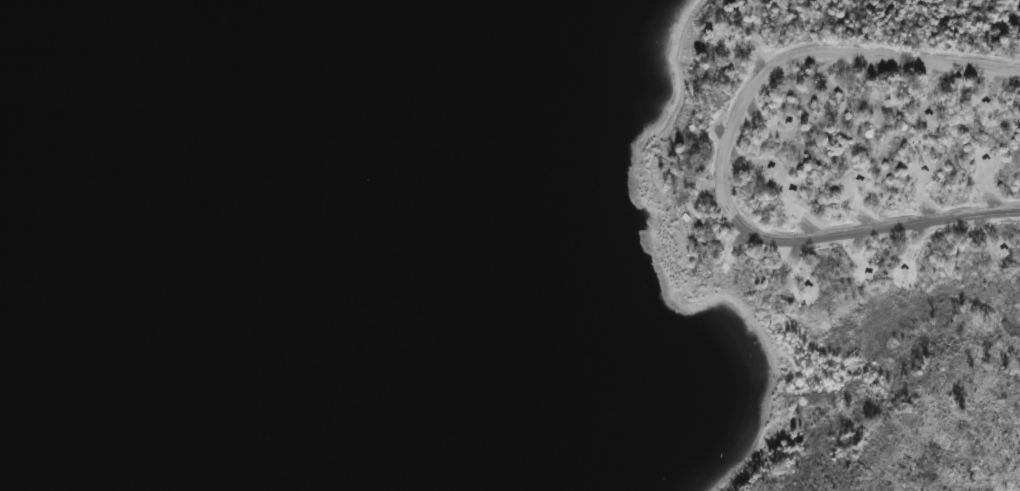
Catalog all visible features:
road: (723, 159)
park: (861, 227)

